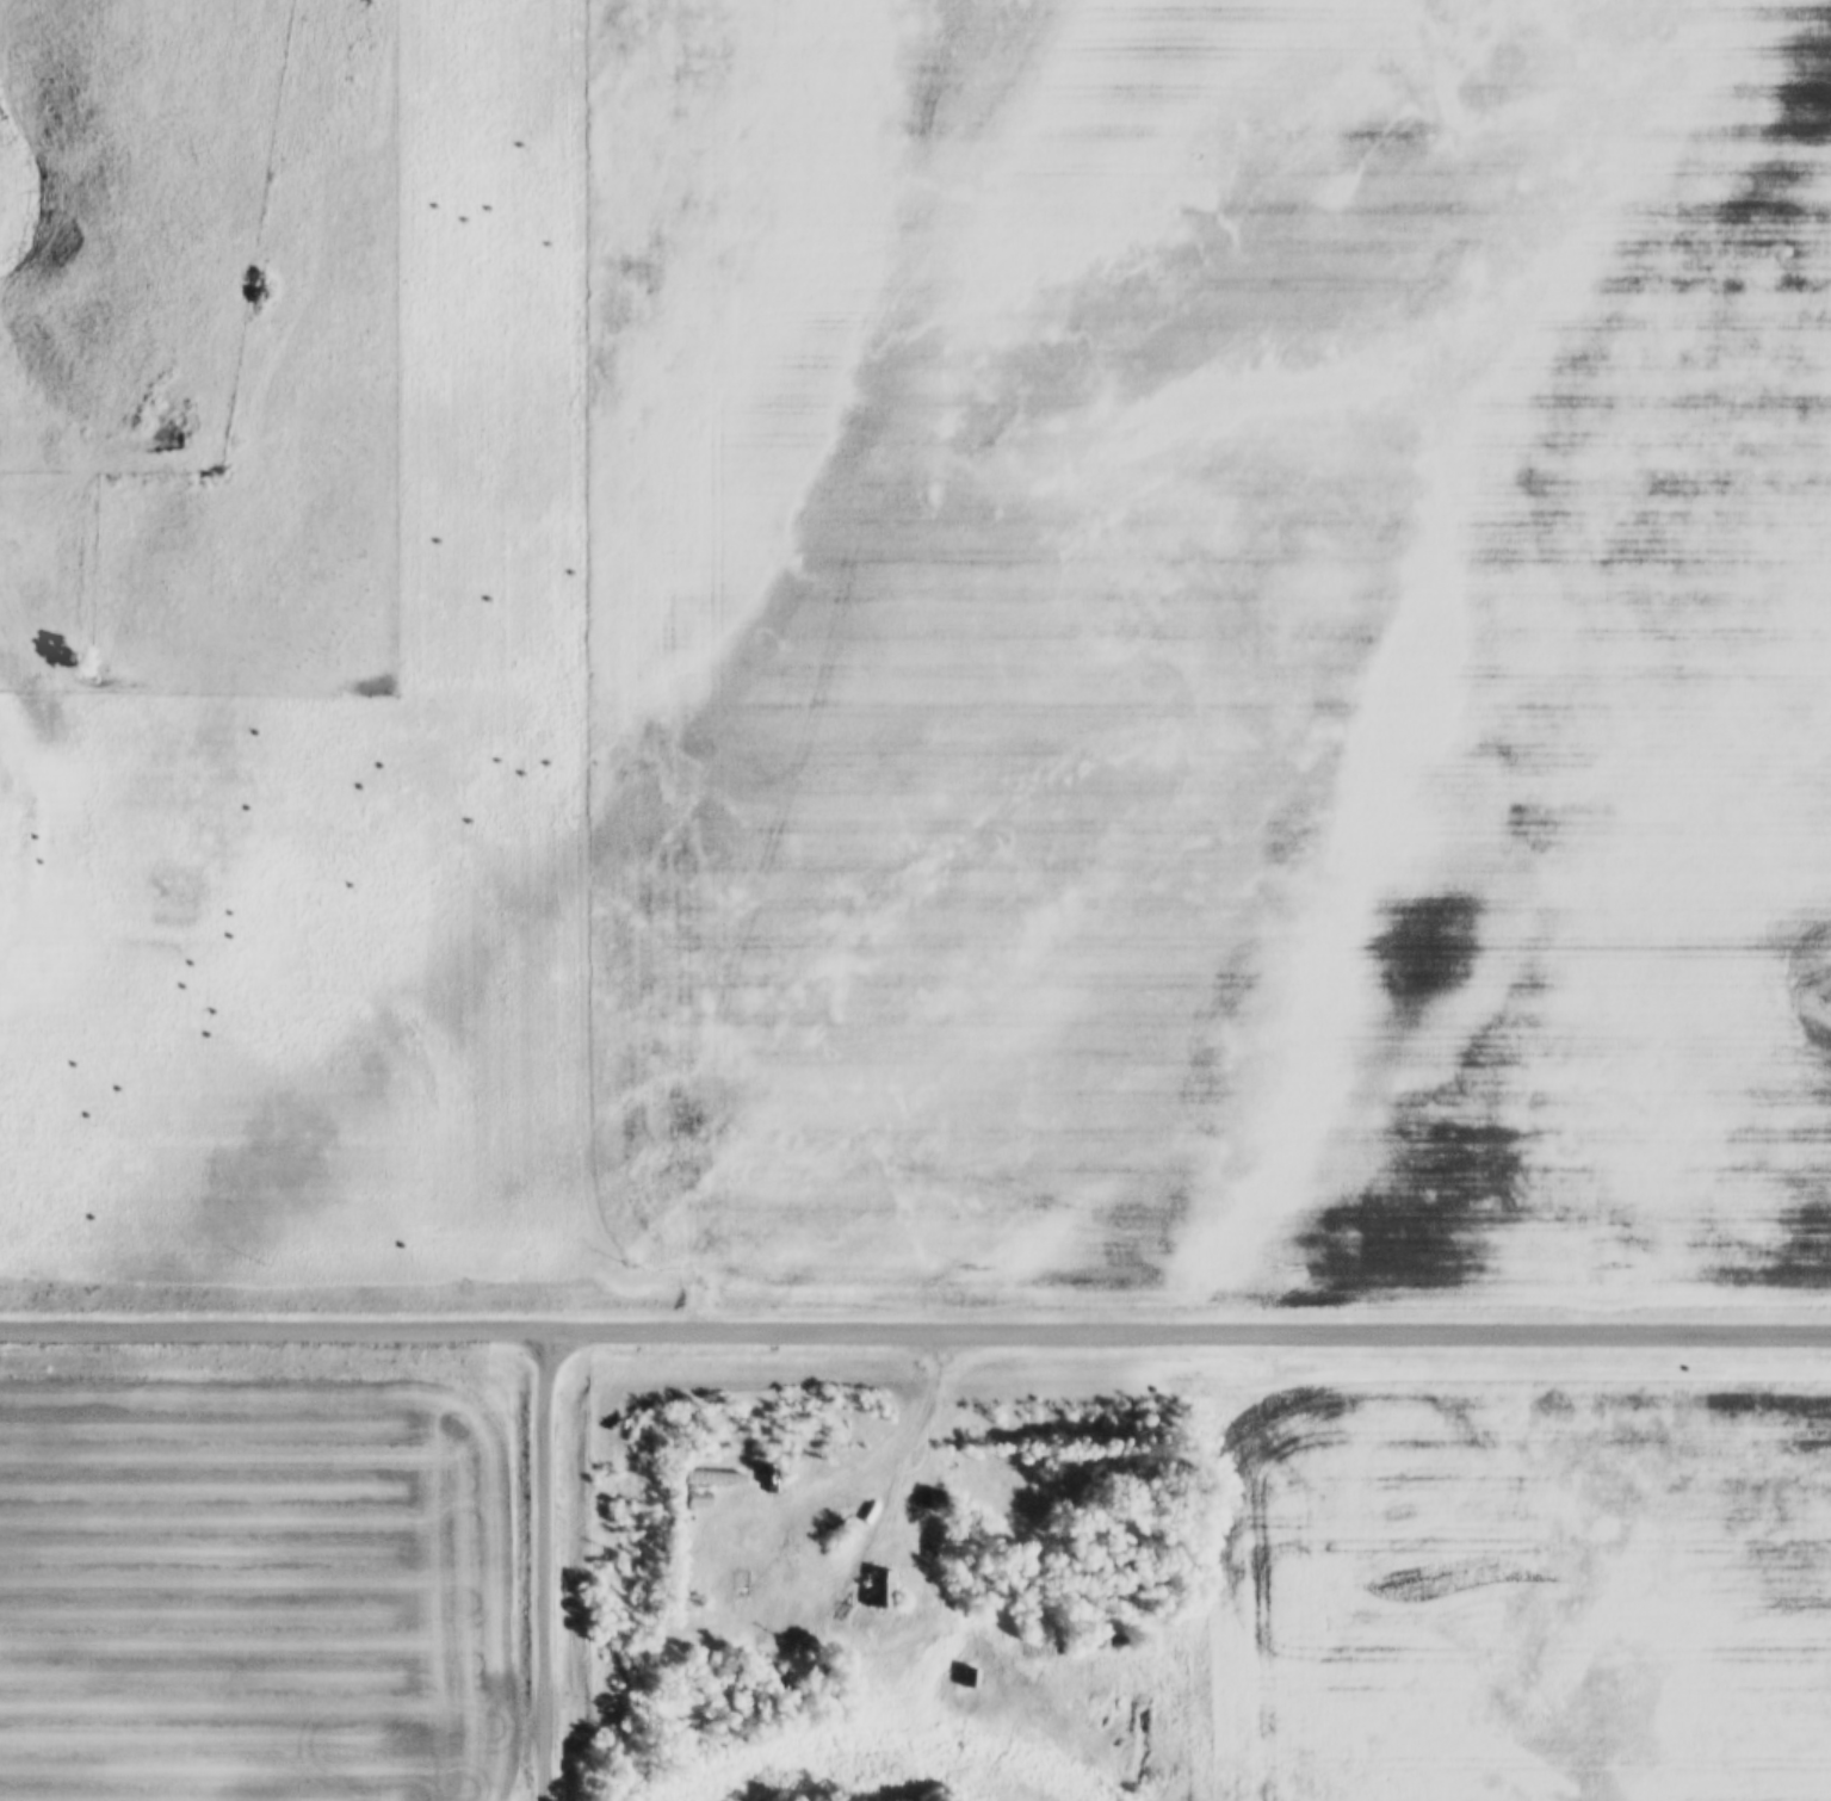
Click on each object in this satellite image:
road: (915, 1326)
road: (872, 1472)
building: (716, 1478)
building: (699, 1498)
road: (540, 1562)
building: (880, 1588)
building: (972, 1677)

